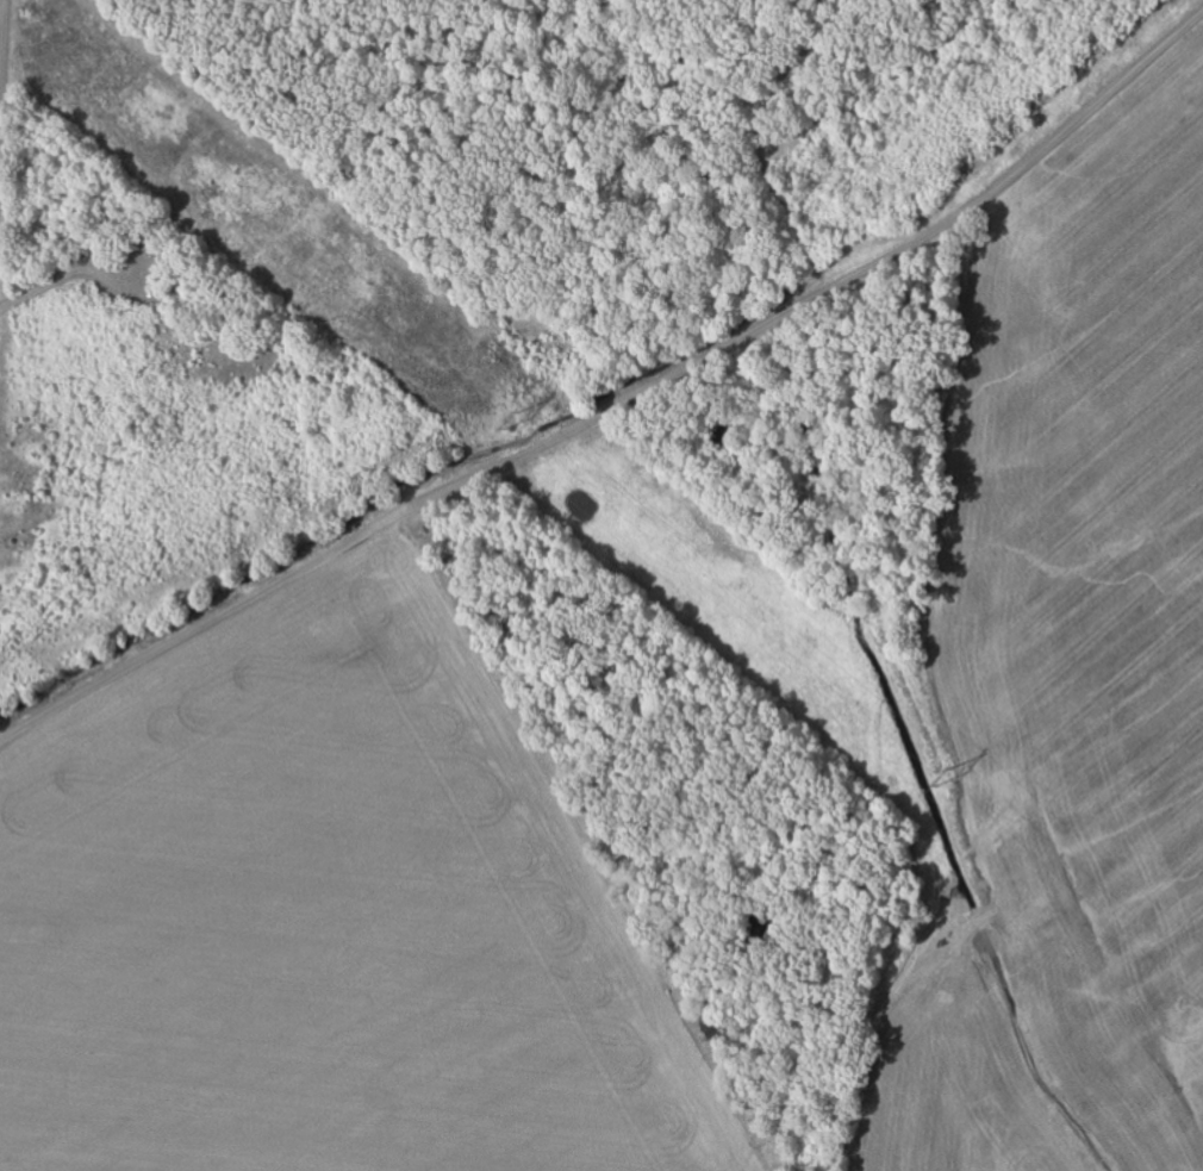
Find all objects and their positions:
road: (1, 41)
road: (622, 405)
power tower: (517, 423)
power tower: (940, 778)

